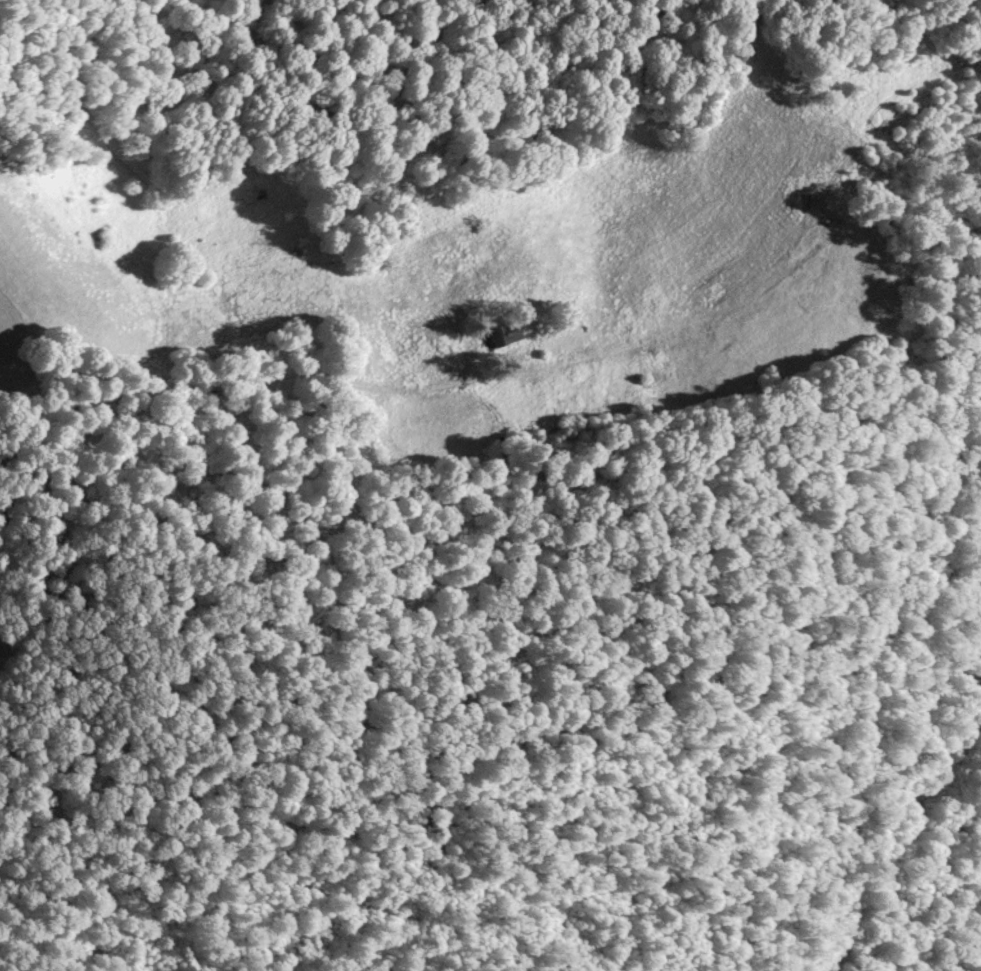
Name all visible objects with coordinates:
building: (501, 331)
road: (350, 377)

